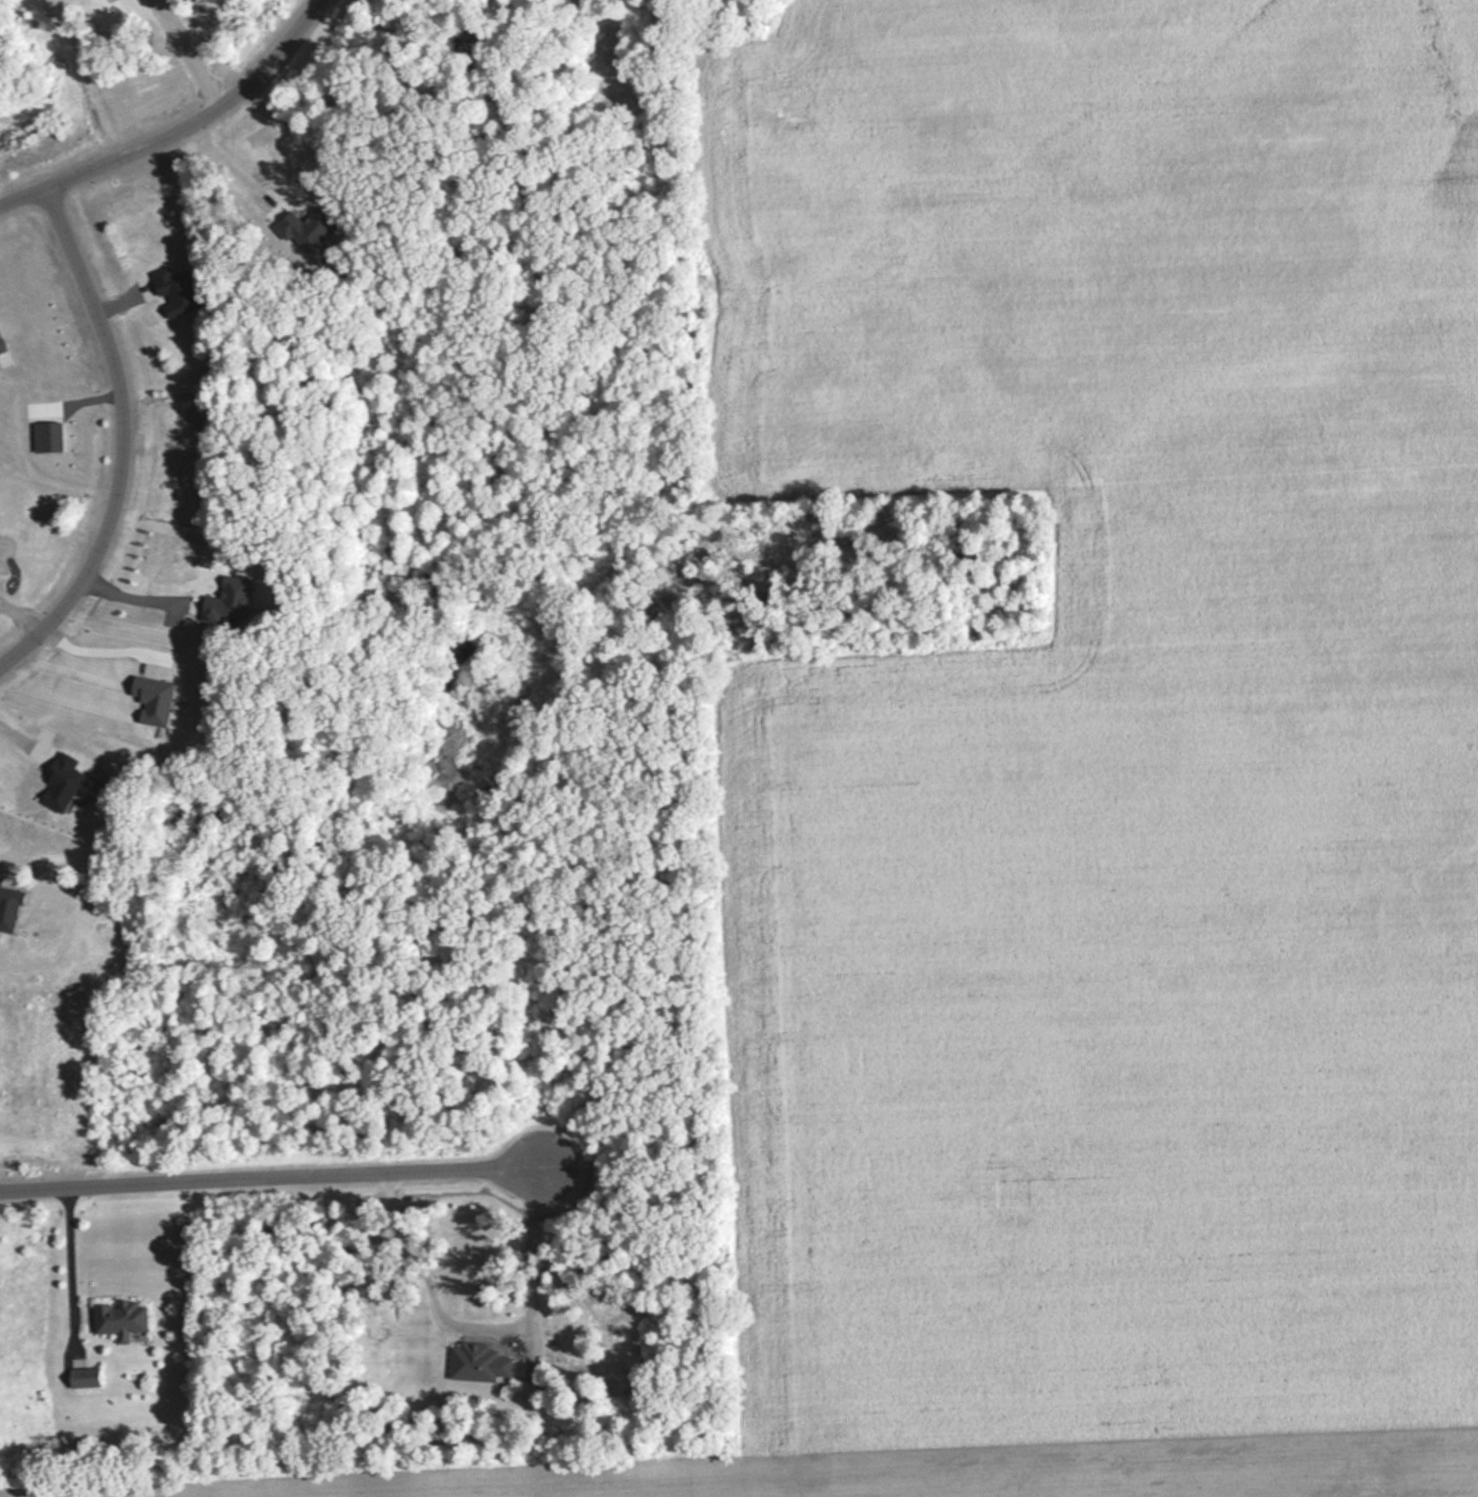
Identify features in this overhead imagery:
road: (177, 128)
road: (123, 439)
road: (270, 1176)
road: (78, 1251)
road: (538, 1253)
building: (118, 1317)
building: (81, 1376)

